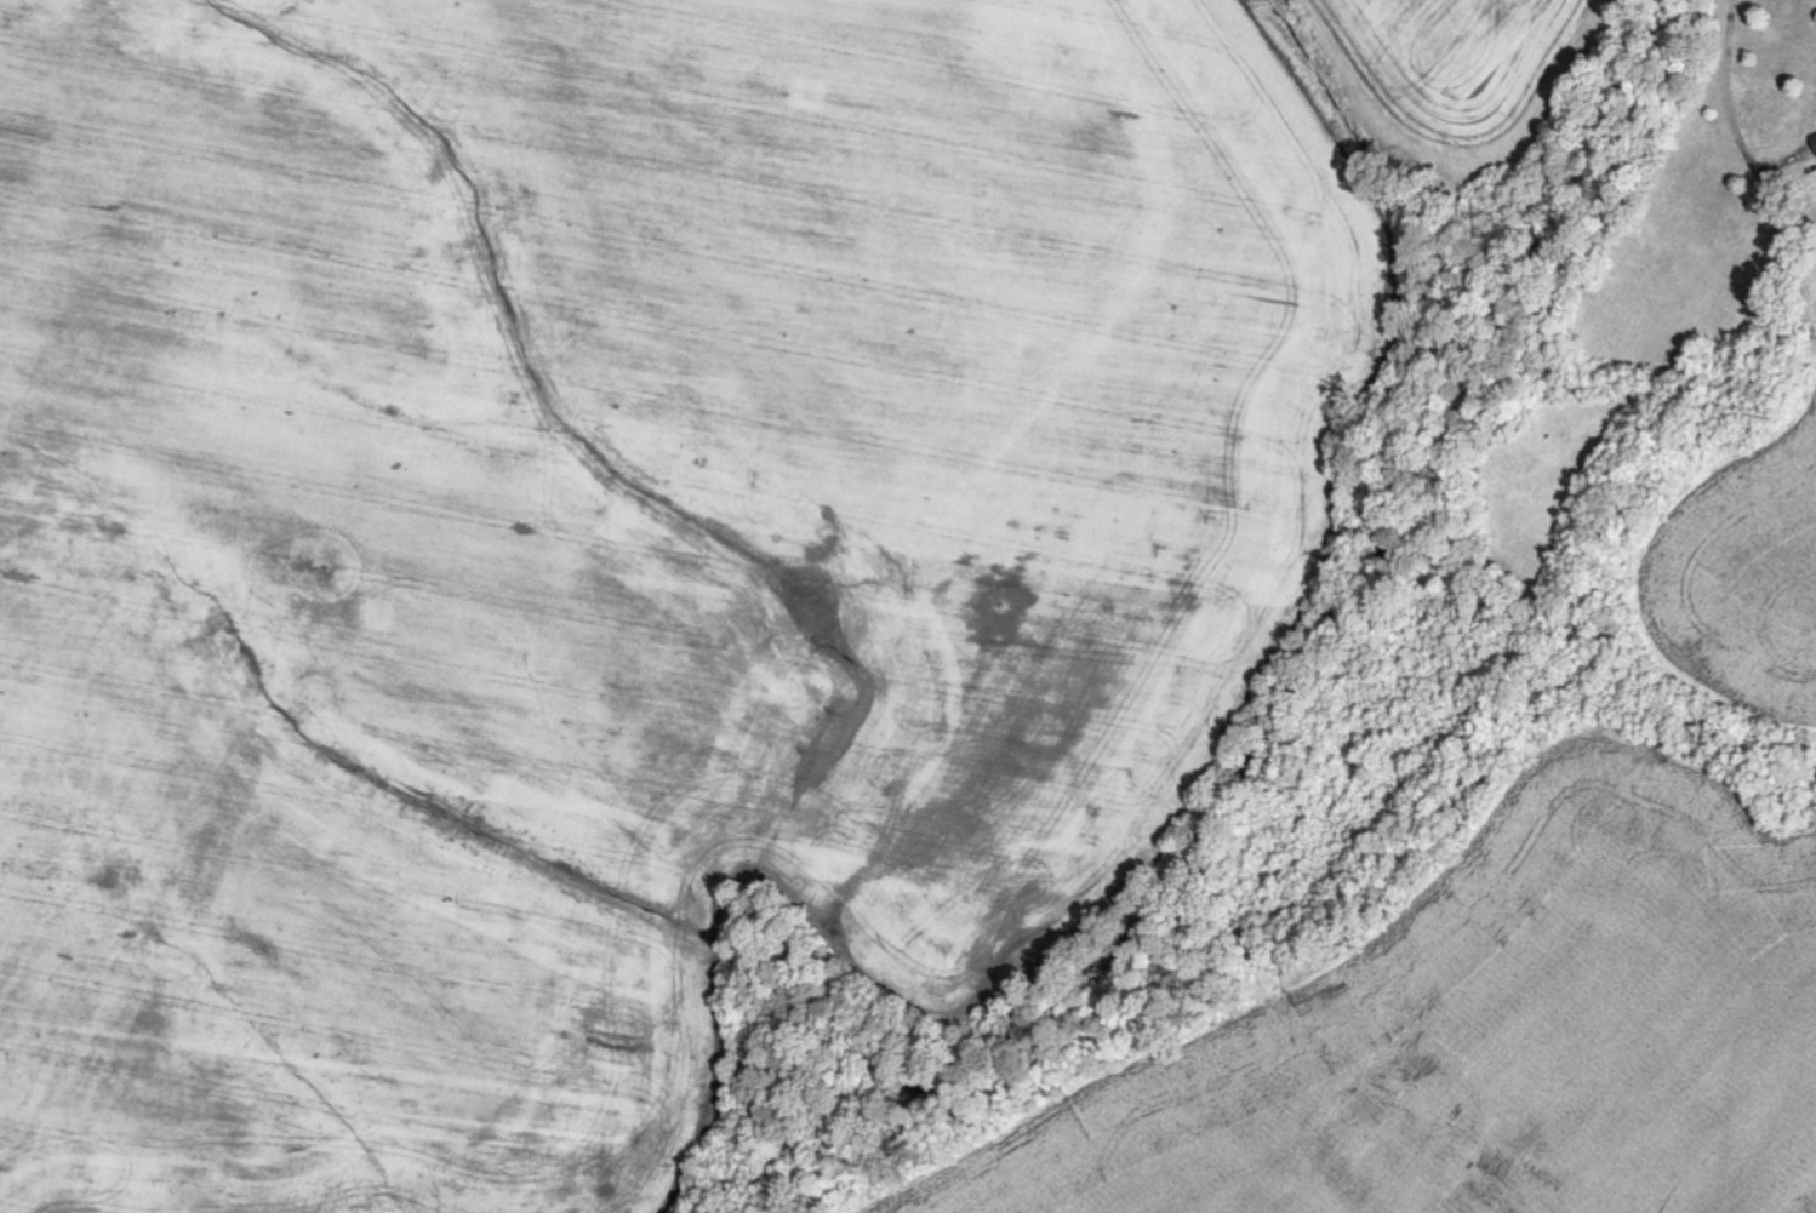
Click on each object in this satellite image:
road: (1729, 95)

